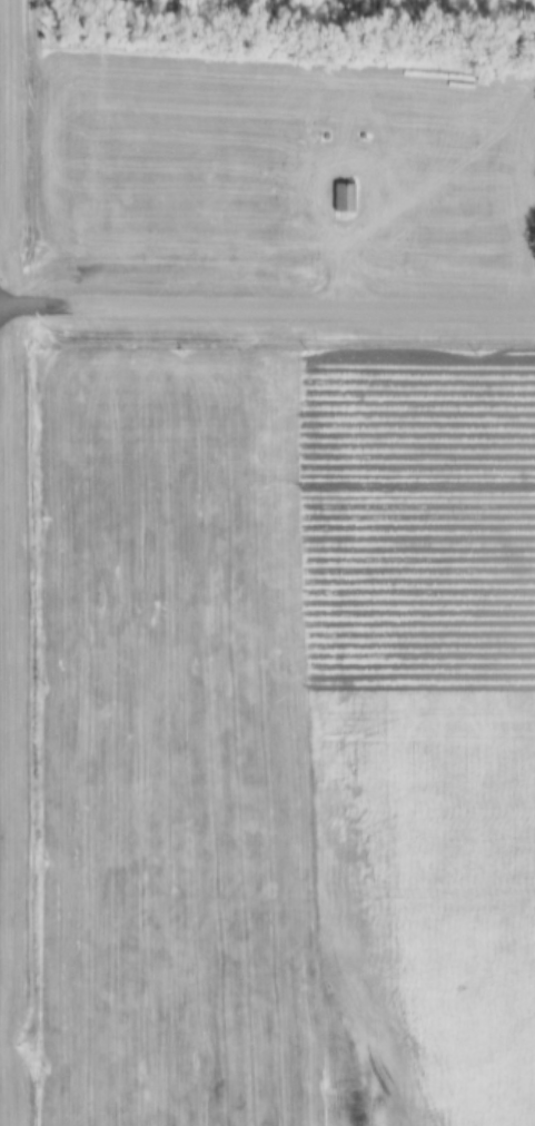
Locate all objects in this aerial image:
building: (338, 199)
road: (267, 307)

